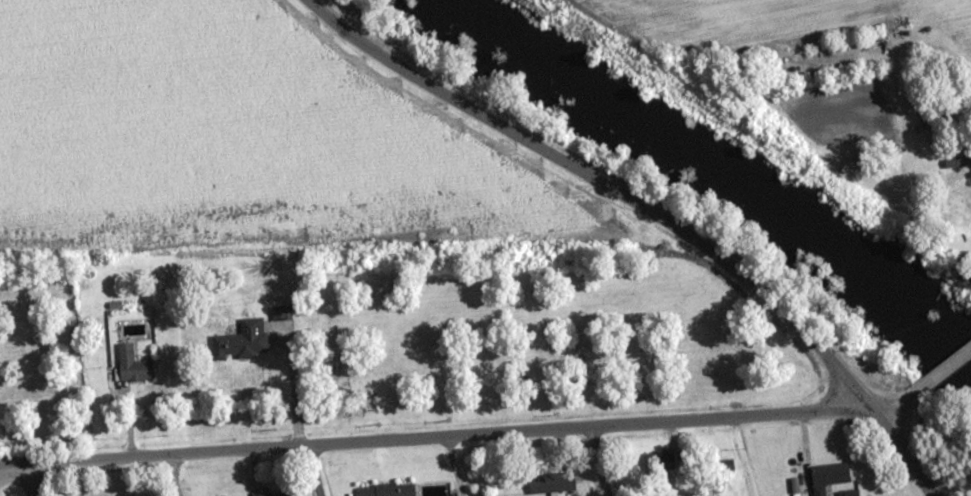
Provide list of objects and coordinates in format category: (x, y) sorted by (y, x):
river: (722, 179)
road: (607, 186)
building: (968, 191)
building: (241, 341)
building: (132, 365)
road: (947, 365)
road: (899, 400)
road: (434, 438)
road: (905, 454)
building: (659, 461)
road: (599, 462)
road: (312, 472)
building: (829, 474)
road: (34, 480)
building: (550, 483)
building: (385, 490)
building: (269, 494)

